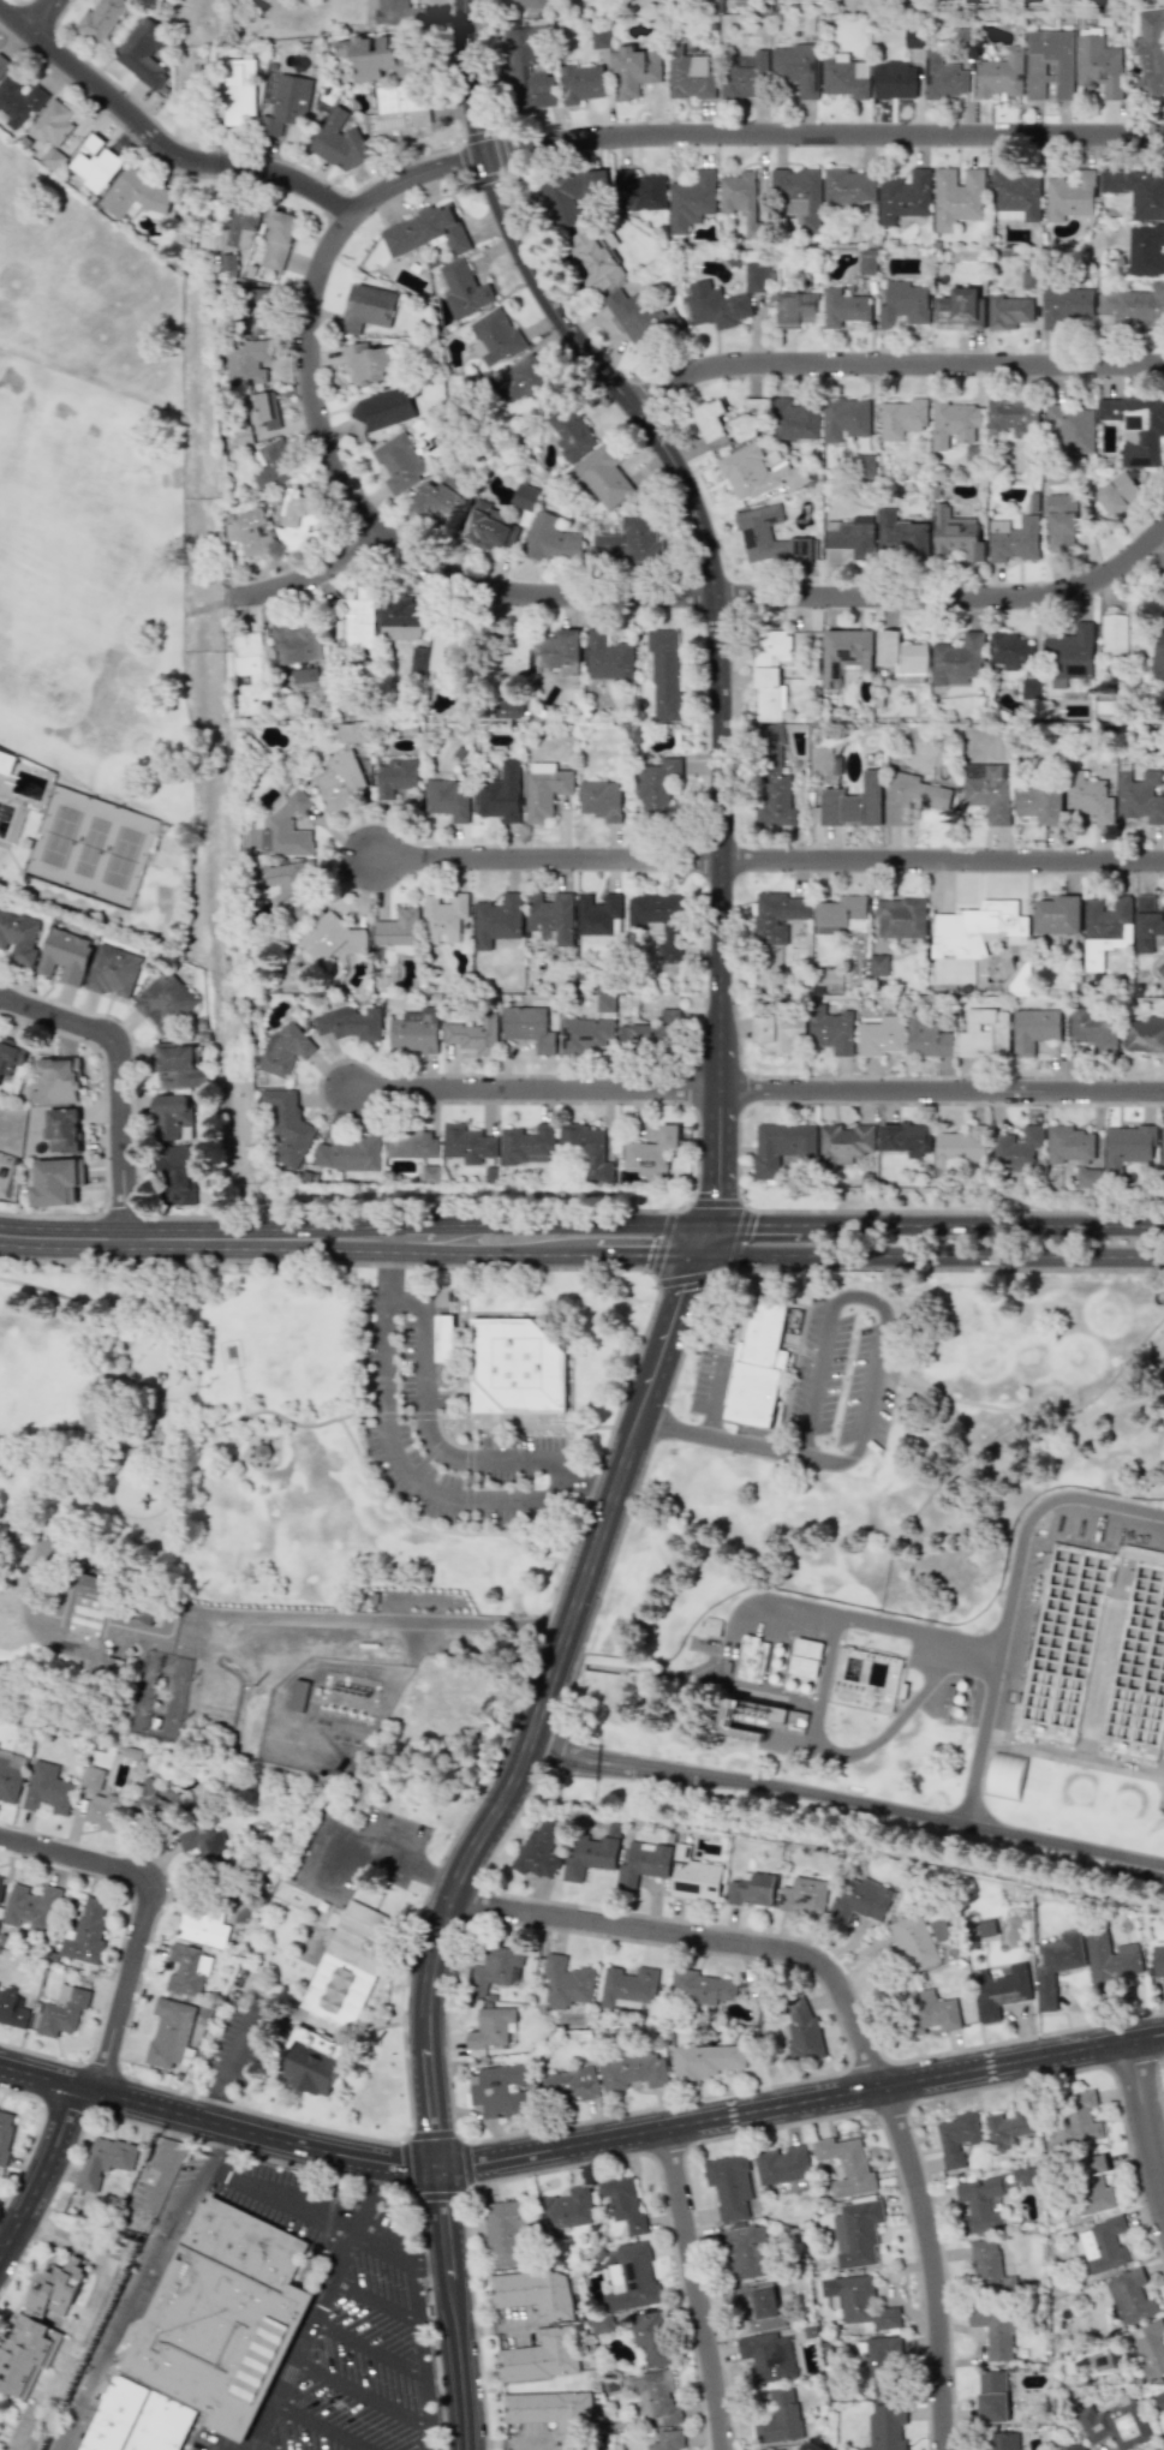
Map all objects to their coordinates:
building: (526, 4)
building: (394, 12)
road: (44, 18)
building: (101, 19)
building: (599, 37)
building: (912, 37)
building: (143, 52)
building: (1150, 53)
building: (380, 55)
building: (2, 64)
building: (1047, 64)
building: (1098, 65)
building: (795, 67)
building: (529, 71)
building: (634, 71)
building: (690, 74)
building: (999, 74)
building: (744, 76)
building: (844, 76)
building: (942, 77)
building: (893, 79)
building: (581, 83)
building: (238, 90)
building: (18, 102)
building: (287, 104)
building: (399, 113)
building: (52, 124)
building: (340, 143)
road: (162, 145)
building: (94, 163)
road: (411, 179)
building: (848, 186)
building: (639, 191)
building: (1138, 191)
building: (133, 193)
building: (571, 195)
building: (799, 195)
building: (905, 196)
building: (1015, 196)
building: (1069, 196)
building: (957, 197)
building: (690, 201)
building: (742, 202)
building: (240, 227)
building: (426, 232)
building: (277, 239)
building: (1146, 251)
building: (593, 258)
building: (867, 262)
building: (1032, 274)
building: (754, 277)
building: (464, 289)
building: (903, 304)
building: (715, 305)
building: (1068, 306)
building: (1134, 306)
building: (368, 307)
building: (844, 307)
building: (960, 307)
building: (796, 309)
building: (256, 311)
building: (1008, 311)
building: (639, 321)
building: (495, 337)
building: (249, 360)
building: (369, 363)
road: (894, 366)
building: (530, 383)
building: (384, 408)
building: (264, 411)
building: (846, 418)
building: (902, 418)
building: (1013, 418)
building: (794, 419)
building: (955, 422)
building: (727, 423)
building: (1073, 428)
building: (1138, 428)
building: (571, 434)
building: (243, 435)
building: (399, 462)
building: (274, 465)
building: (865, 466)
building: (756, 473)
building: (601, 476)
building: (1118, 494)
building: (525, 496)
building: (442, 500)
building: (299, 520)
building: (1061, 520)
park: (96, 527)
building: (489, 527)
road: (1163, 530)
building: (955, 532)
building: (760, 533)
building: (902, 533)
building: (249, 534)
building: (852, 536)
building: (1013, 539)
building: (550, 540)
building: (629, 542)
building: (801, 549)
road: (308, 578)
road: (712, 580)
road: (949, 597)
building: (358, 619)
building: (400, 619)
building: (1123, 634)
building: (296, 644)
building: (444, 647)
building: (1009, 650)
building: (1158, 650)
building: (559, 651)
building: (844, 653)
building: (901, 655)
building: (1070, 655)
building: (509, 656)
building: (607, 658)
building: (417, 659)
building: (959, 659)
building: (251, 671)
building: (663, 673)
building: (769, 674)
building: (304, 675)
building: (1031, 688)
building: (1162, 692)
building: (507, 707)
building: (1109, 710)
building: (352, 733)
building: (6, 761)
building: (395, 776)
building: (771, 779)
building: (340, 782)
building: (656, 785)
building: (544, 789)
building: (990, 790)
building: (500, 794)
building: (1140, 796)
building: (914, 797)
building: (1088, 797)
building: (448, 799)
building: (599, 800)
building: (855, 802)
building: (1041, 802)
building: (287, 827)
park: (59, 835)
park: (90, 845)
park: (168, 850)
park: (120, 855)
road: (769, 861)
building: (285, 884)
building: (598, 914)
building: (843, 914)
building: (1058, 914)
building: (550, 916)
building: (776, 916)
building: (443, 918)
building: (903, 918)
building: (496, 920)
building: (1147, 922)
building: (980, 928)
building: (1105, 928)
building: (399, 930)
building: (18, 937)
building: (332, 937)
building: (65, 956)
building: (881, 964)
building: (113, 972)
building: (163, 999)
building: (604, 1003)
building: (351, 1023)
building: (527, 1027)
building: (1035, 1029)
building: (414, 1030)
building: (830, 1030)
building: (1094, 1030)
building: (651, 1032)
building: (986, 1033)
building: (777, 1034)
building: (1145, 1034)
building: (472, 1035)
building: (584, 1035)
building: (882, 1036)
building: (929, 1038)
building: (286, 1050)
building: (11, 1054)
building: (1163, 1057)
building: (179, 1066)
road: (117, 1077)
building: (55, 1081)
road: (756, 1092)
building: (172, 1115)
building: (288, 1127)
building: (62, 1130)
building: (905, 1139)
building: (411, 1143)
building: (467, 1143)
building: (843, 1143)
building: (1069, 1143)
building: (529, 1145)
building: (1163, 1145)
building: (1128, 1146)
building: (962, 1147)
building: (782, 1148)
building: (1016, 1149)
building: (586, 1151)
building: (348, 1153)
building: (651, 1153)
building: (430, 1173)
building: (175, 1175)
building: (1088, 1177)
building: (55, 1182)
road: (758, 1223)
road: (548, 1224)
road: (983, 1224)
road: (132, 1235)
road: (323, 1236)
road: (708, 1237)
road: (539, 1253)
road: (932, 1254)
building: (444, 1338)
parking lot: (401, 1345)
building: (517, 1366)
building: (758, 1369)
road: (143, 1378)
road: (864, 1382)
road: (714, 1396)
road: (335, 1412)
road: (281, 1429)
road: (105, 1435)
road: (430, 1438)
park: (881, 1438)
park: (217, 1439)
road: (253, 1456)
road: (398, 1466)
road: (1008, 1596)
road: (829, 1614)
road: (376, 1623)
building: (750, 1659)
building: (793, 1666)
building: (866, 1680)
building: (955, 1698)
road: (539, 1708)
building: (728, 1713)
building: (765, 1721)
road: (847, 1755)
road: (1072, 1756)
road: (614, 1757)
road: (611, 1768)
building: (1005, 1775)
building: (91, 1777)
building: (8, 1781)
building: (47, 1789)
building: (157, 1800)
building: (103, 1810)
road: (932, 1815)
building: (204, 1844)
road: (378, 1853)
road: (78, 1854)
building: (536, 1854)
building: (589, 1856)
building: (643, 1864)
building: (693, 1876)
road: (321, 1881)
building: (1, 1883)
road: (440, 1887)
building: (751, 1889)
building: (802, 1895)
building: (861, 1900)
building: (31, 1907)
building: (203, 1928)
building: (986, 1928)
building: (85, 1932)
building: (914, 1942)
road: (118, 1952)
building: (1110, 1960)
building: (1158, 1960)
building: (350, 1964)
building: (1056, 1965)
building: (187, 1970)
building: (493, 1970)
building: (566, 1982)
road: (127, 1984)
building: (700, 1986)
building: (629, 1988)
building: (999, 1990)
building: (12, 2009)
building: (62, 2012)
building: (925, 2012)
road: (852, 2019)
building: (490, 2027)
building: (801, 2030)
building: (169, 2032)
building: (312, 2056)
building: (705, 2061)
road: (233, 2063)
building: (633, 2070)
road: (38, 2076)
building: (567, 2084)
road: (754, 2087)
building: (501, 2090)
road: (804, 2103)
road: (1147, 2115)
building: (1081, 2119)
building: (1009, 2127)
road: (258, 2131)
building: (5, 2132)
building: (957, 2138)
building: (103, 2161)
road: (465, 2162)
road: (575, 2163)
building: (782, 2164)
building: (846, 2167)
road: (166, 2174)
road: (44, 2176)
road: (195, 2181)
building: (1092, 2183)
building: (729, 2186)
road: (370, 2194)
building: (623, 2204)
building: (979, 2204)
building: (566, 2209)
road: (328, 2216)
building: (503, 2231)
building: (856, 2233)
building: (1104, 2245)
building: (745, 2251)
building: (989, 2267)
building: (631, 2278)
road: (698, 2289)
building: (532, 2290)
building: (1130, 2296)
road: (372, 2300)
building: (859, 2301)
road: (458, 2307)
building: (758, 2307)
road: (86, 2315)
parking lot: (347, 2317)
building: (36, 2327)
building: (995, 2330)
road: (302, 2338)
building: (649, 2338)
building: (202, 2340)
road: (108, 2343)
road: (365, 2348)
building: (1152, 2348)
road: (419, 2349)
building: (541, 2355)
building: (768, 2355)
building: (882, 2366)
road: (359, 2390)
building: (655, 2395)
building: (992, 2396)
building: (1159, 2401)
building: (551, 2412)
building: (781, 2418)
building: (1117, 2424)
road: (320, 2425)
building: (885, 2427)
building: (667, 2440)
building: (1004, 2440)
building: (572, 2446)
road: (253, 2448)
building: (1075, 2448)
building: (774, 2449)

